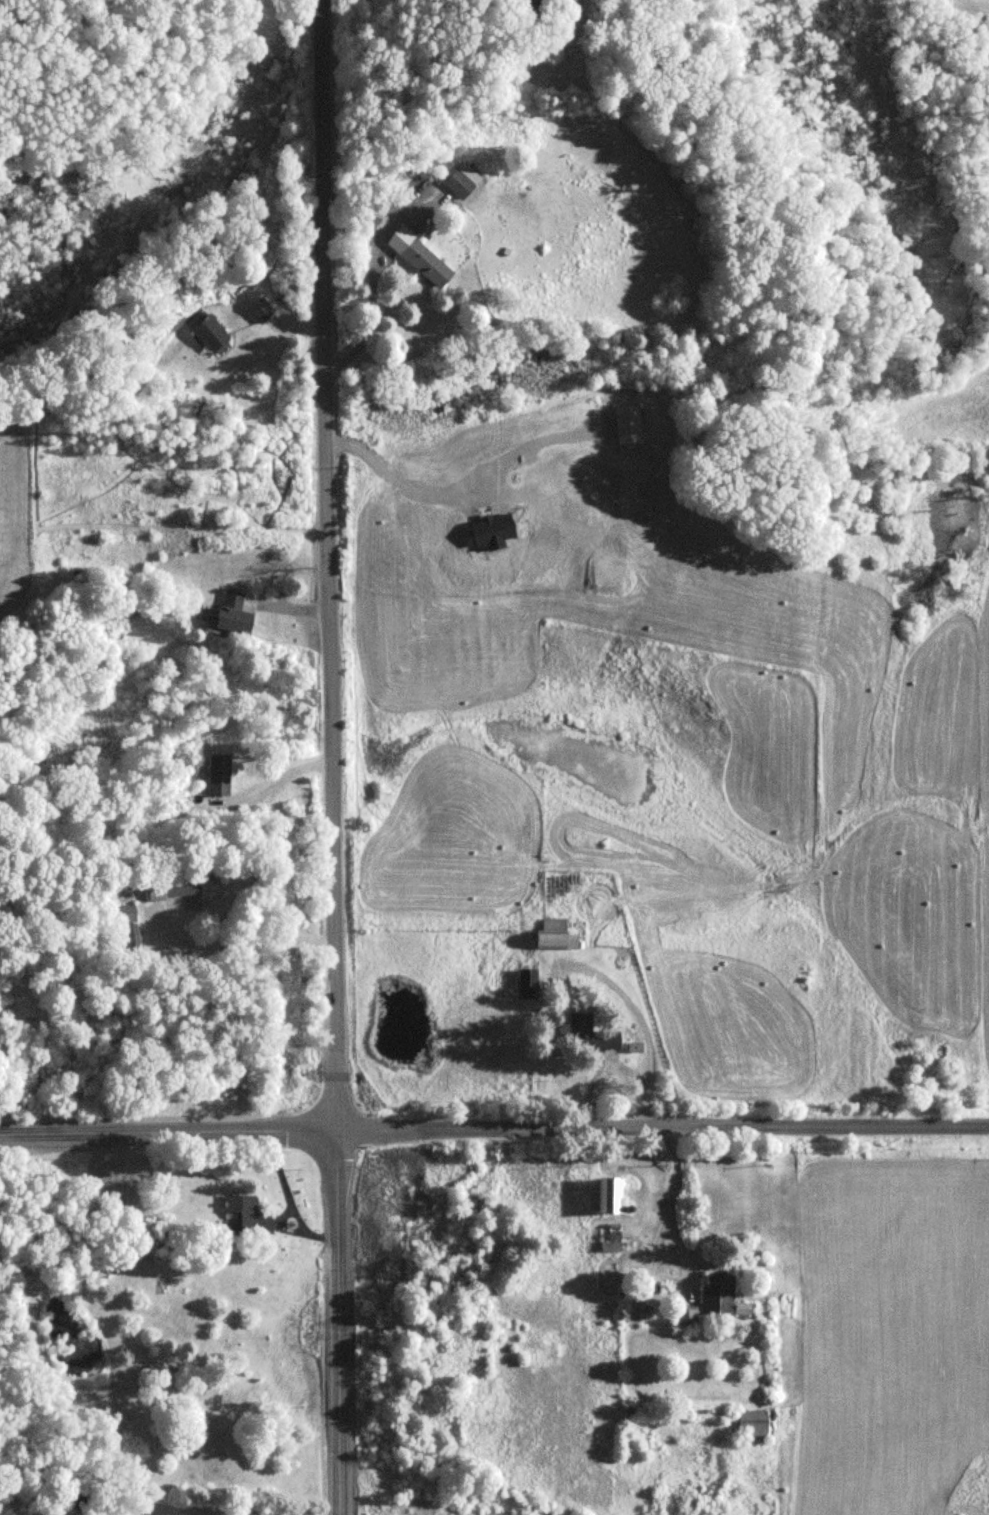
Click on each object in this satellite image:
building: (458, 184)
building: (426, 262)
building: (259, 310)
building: (209, 334)
road: (326, 563)
building: (234, 614)
building: (218, 774)
building: (175, 886)
building: (126, 913)
building: (555, 934)
building: (131, 938)
building: (525, 990)
building: (605, 1041)
road: (662, 1126)
road: (167, 1129)
building: (610, 1195)
building: (242, 1209)
building: (717, 1294)
building: (686, 1317)
road: (337, 1321)
building: (754, 1423)

